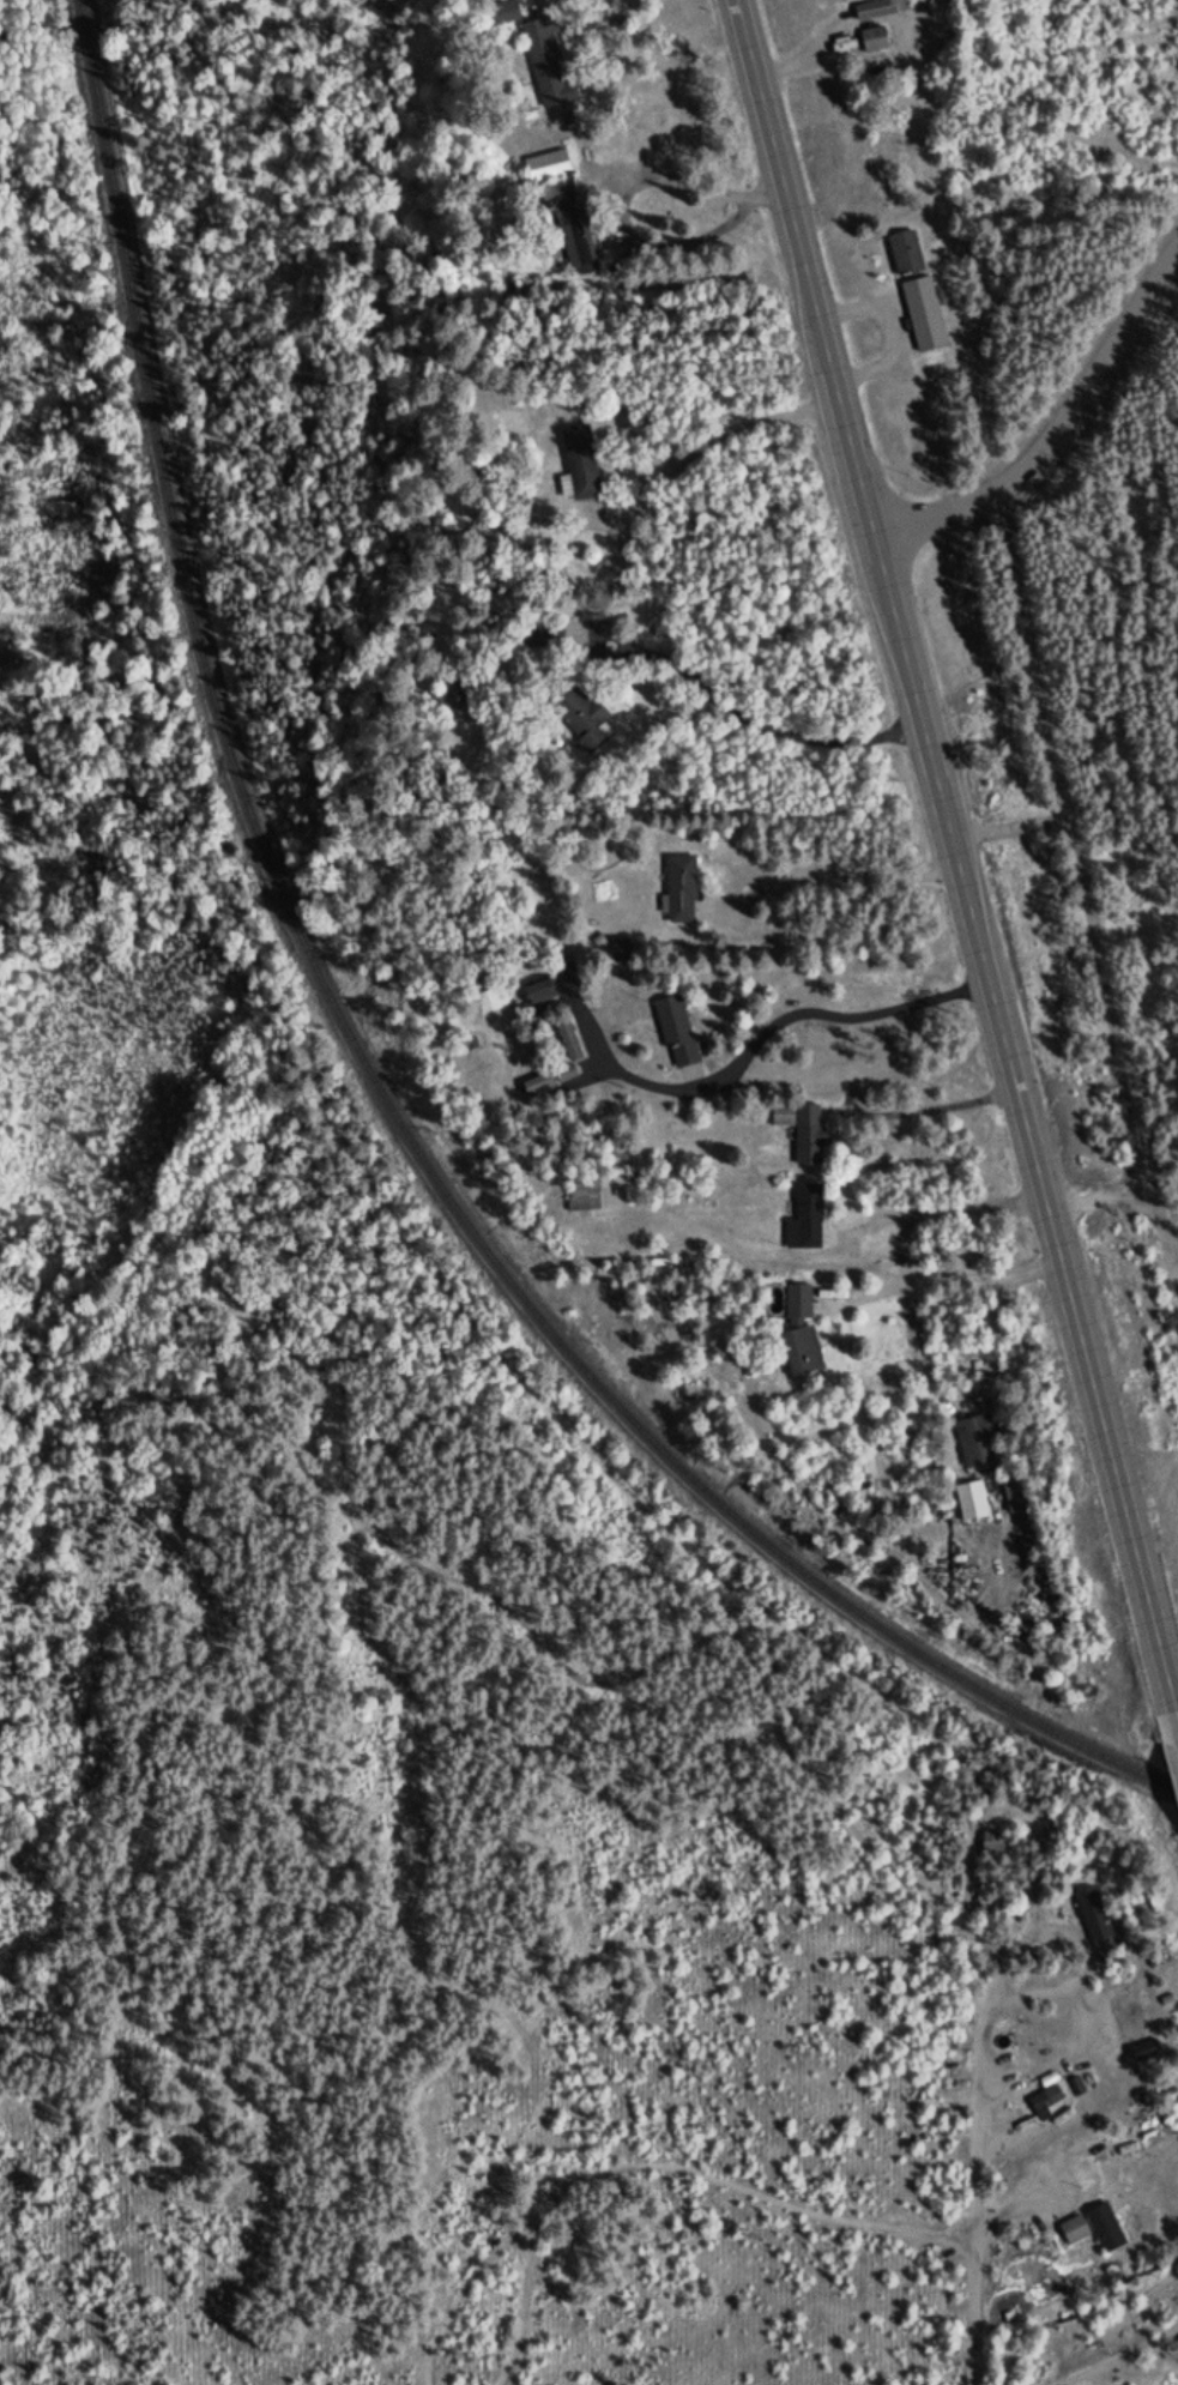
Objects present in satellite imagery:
building: (875, 11)
building: (502, 14)
building: (874, 42)
building: (546, 66)
building: (548, 169)
road: (696, 187)
building: (570, 224)
building: (906, 254)
building: (924, 315)
road: (1058, 434)
building: (579, 466)
road: (653, 487)
building: (534, 636)
building: (453, 696)
building: (581, 719)
road: (765, 727)
road: (959, 862)
road: (844, 870)
building: (681, 890)
road: (1088, 892)
building: (622, 952)
building: (538, 994)
building: (488, 1003)
building: (676, 1032)
building: (567, 1039)
building: (463, 1047)
road: (753, 1049)
railway: (364, 1065)
building: (537, 1086)
road: (942, 1107)
building: (802, 1131)
building: (599, 1195)
road: (1033, 1270)
building: (801, 1333)
building: (977, 1443)
building: (1014, 1497)
building: (971, 1502)
building: (995, 1848)
building: (1097, 1924)
building: (1146, 2051)
building: (1045, 2102)
road: (977, 2176)
road: (738, 2187)
building: (1105, 2228)
building: (1074, 2230)
building: (1171, 2283)
road: (461, 2299)
road: (518, 2308)

